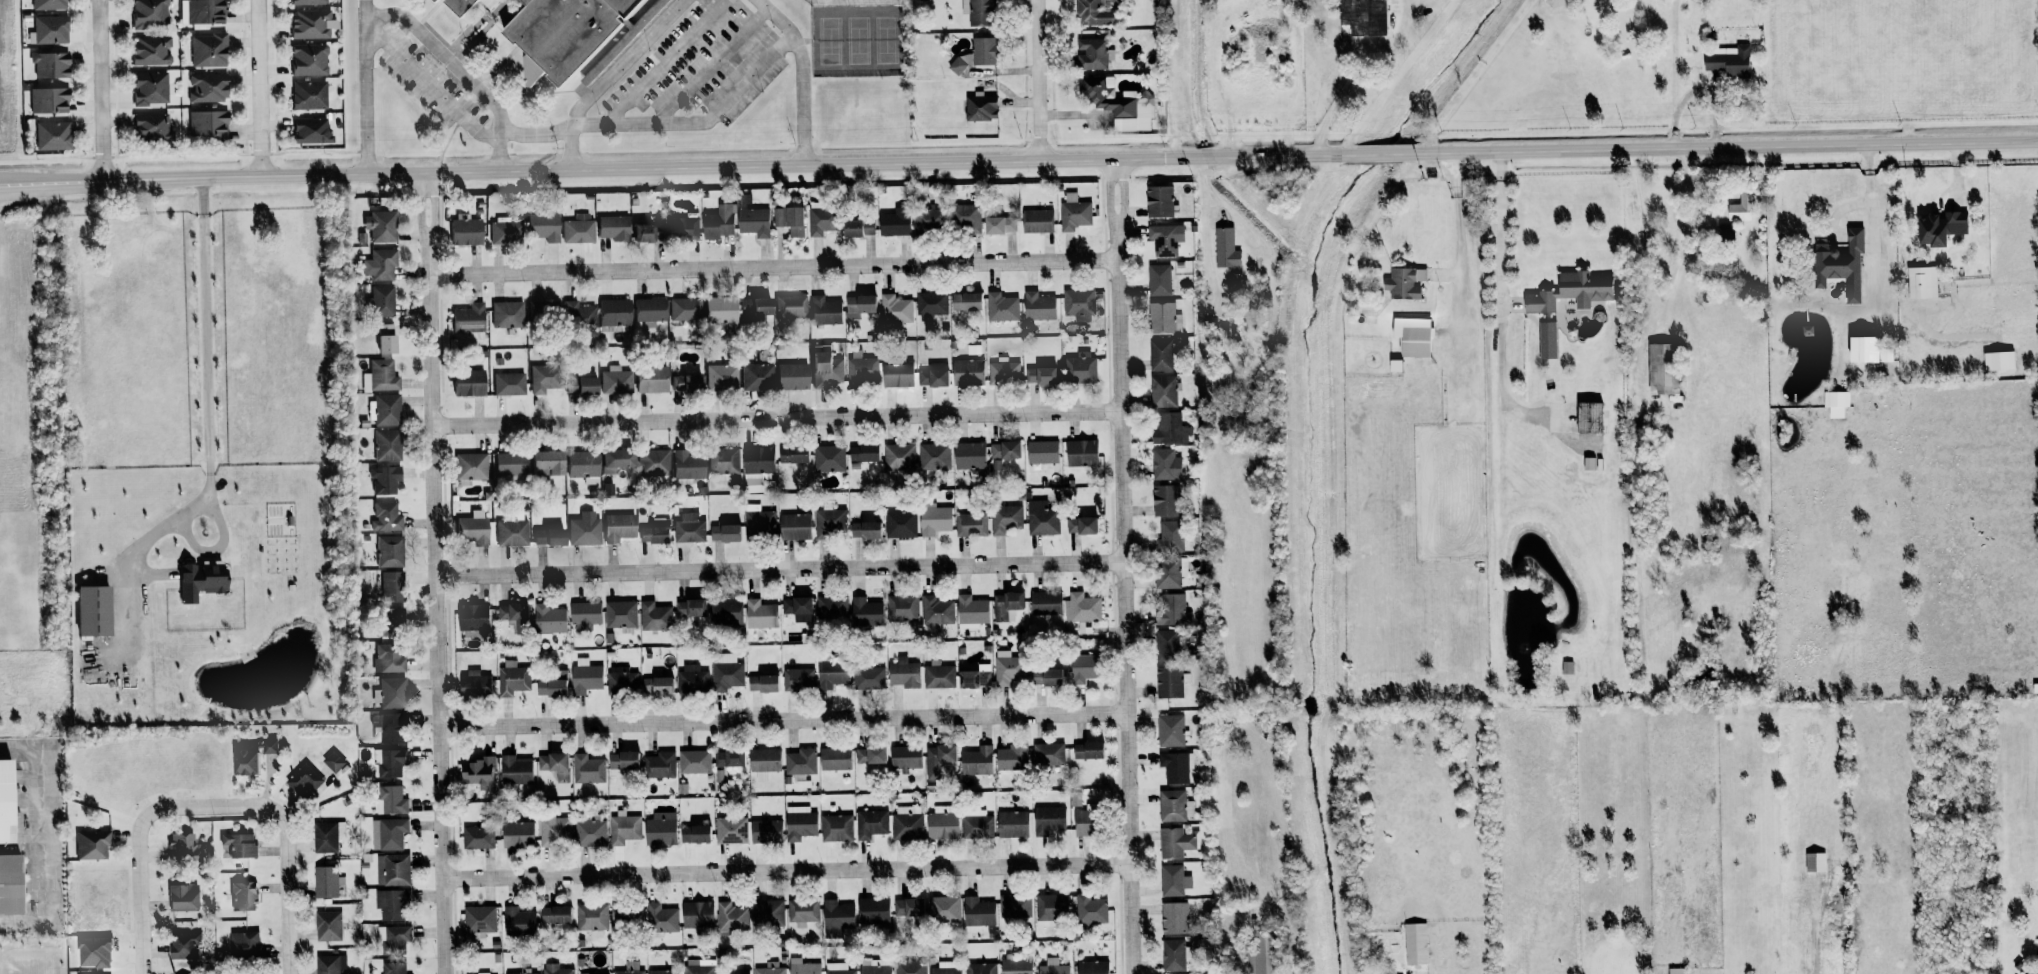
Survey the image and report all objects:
building: (431, 0)
building: (305, 2)
building: (47, 4)
building: (456, 5)
road: (365, 9)
building: (203, 11)
building: (978, 11)
building: (147, 13)
building: (1096, 13)
building: (1363, 17)
road: (407, 20)
building: (309, 24)
building: (47, 30)
building: (561, 31)
building: (206, 49)
building: (149, 50)
road: (797, 50)
building: (976, 54)
building: (1091, 54)
building: (306, 59)
building: (1727, 60)
road: (667, 61)
road: (622, 63)
building: (48, 64)
road: (1042, 80)
building: (148, 87)
building: (206, 87)
road: (431, 87)
road: (260, 88)
road: (100, 90)
building: (307, 94)
building: (47, 99)
road: (1339, 99)
building: (1117, 104)
building: (980, 107)
road: (700, 123)
building: (206, 125)
building: (149, 126)
building: (309, 130)
road: (536, 132)
building: (51, 135)
road: (803, 140)
road: (1723, 146)
road: (367, 148)
road: (499, 151)
road: (573, 151)
road: (1375, 154)
road: (670, 167)
road: (1872, 189)
building: (744, 199)
building: (1159, 201)
building: (1740, 208)
road: (1458, 211)
building: (1074, 212)
building: (965, 216)
building: (926, 218)
building: (820, 219)
building: (789, 220)
building: (753, 221)
building: (1037, 221)
building: (717, 223)
building: (892, 224)
building: (1009, 224)
building: (993, 225)
road: (1700, 225)
building: (379, 226)
building: (541, 226)
building: (611, 227)
building: (857, 227)
building: (1939, 227)
building: (577, 228)
building: (682, 229)
building: (464, 231)
building: (503, 231)
building: (1725, 231)
building: (640, 233)
building: (1166, 239)
building: (1226, 250)
building: (380, 264)
building: (1840, 265)
road: (774, 266)
building: (1159, 280)
building: (1404, 282)
building: (1922, 283)
building: (1567, 291)
building: (379, 301)
building: (965, 301)
building: (859, 303)
building: (931, 303)
building: (1001, 304)
building: (1079, 304)
building: (789, 306)
building: (1037, 306)
building: (549, 308)
building: (753, 308)
building: (684, 309)
building: (719, 309)
building: (895, 309)
building: (649, 310)
building: (823, 310)
building: (507, 314)
building: (578, 315)
building: (1162, 317)
building: (468, 319)
road: (1501, 324)
building: (1411, 336)
building: (383, 338)
building: (1160, 355)
building: (1999, 360)
building: (825, 368)
building: (1080, 368)
building: (862, 370)
building: (1662, 370)
building: (968, 372)
building: (1004, 372)
building: (897, 373)
building: (1040, 375)
building: (379, 376)
building: (756, 376)
building: (790, 376)
building: (650, 377)
building: (721, 377)
building: (932, 377)
building: (539, 378)
building: (615, 380)
building: (467, 382)
building: (685, 382)
building: (508, 383)
building: (568, 384)
building: (583, 385)
building: (1163, 391)
building: (1836, 403)
building: (384, 409)
road: (207, 412)
road: (777, 413)
building: (1588, 417)
building: (1169, 429)
building: (384, 445)
building: (1005, 450)
building: (863, 452)
building: (1042, 452)
building: (1081, 453)
building: (792, 454)
building: (969, 455)
building: (900, 456)
building: (935, 456)
building: (614, 458)
building: (829, 458)
building: (723, 460)
building: (757, 460)
building: (652, 461)
building: (1589, 462)
building: (544, 463)
building: (508, 464)
building: (1164, 464)
building: (582, 465)
building: (686, 466)
building: (469, 467)
building: (383, 479)
building: (1164, 500)
building: (385, 517)
building: (934, 519)
building: (1006, 519)
building: (1042, 519)
building: (829, 521)
building: (759, 523)
building: (901, 524)
building: (971, 524)
building: (1080, 525)
building: (617, 527)
building: (794, 527)
building: (689, 528)
building: (470, 530)
building: (864, 530)
building: (583, 531)
building: (511, 532)
building: (723, 533)
building: (652, 534)
building: (546, 536)
building: (1170, 537)
road: (217, 546)
building: (388, 551)
road: (1122, 566)
road: (780, 568)
building: (1169, 572)
road: (438, 573)
building: (199, 579)
building: (391, 587)
building: (1045, 603)
building: (1007, 606)
building: (1082, 607)
building: (689, 608)
building: (795, 608)
building: (830, 608)
building: (902, 608)
building: (971, 610)
building: (1172, 610)
building: (89, 611)
building: (724, 611)
building: (865, 612)
building: (937, 612)
building: (512, 613)
building: (584, 614)
building: (620, 614)
building: (759, 614)
building: (654, 616)
building: (472, 617)
building: (390, 619)
building: (548, 619)
building: (1168, 645)
building: (387, 659)
building: (1009, 668)
building: (1084, 668)
building: (1567, 668)
building: (725, 672)
building: (831, 674)
building: (903, 674)
building: (938, 675)
building: (513, 677)
building: (584, 677)
building: (975, 677)
building: (1046, 677)
building: (868, 678)
building: (691, 679)
building: (797, 680)
building: (622, 682)
building: (1169, 682)
building: (473, 684)
building: (761, 684)
building: (552, 686)
building: (655, 686)
building: (391, 693)
road: (784, 719)
building: (386, 727)
building: (1170, 730)
building: (263, 745)
building: (1087, 750)
building: (1048, 754)
building: (870, 755)
building: (728, 757)
building: (904, 757)
building: (833, 758)
building: (937, 758)
building: (1011, 758)
building: (621, 759)
building: (242, 761)
building: (333, 761)
building: (388, 761)
building: (694, 761)
building: (763, 761)
building: (977, 761)
building: (553, 763)
building: (659, 764)
building: (1176, 766)
building: (587, 767)
building: (476, 769)
building: (514, 769)
building: (303, 778)
building: (5, 800)
building: (391, 800)
building: (1172, 805)
building: (1048, 819)
building: (798, 822)
building: (941, 822)
building: (1084, 822)
building: (871, 823)
building: (907, 823)
building: (1012, 823)
building: (976, 825)
building: (623, 827)
building: (836, 827)
building: (554, 828)
building: (660, 829)
building: (730, 829)
building: (765, 830)
building: (388, 833)
building: (516, 833)
building: (589, 833)
building: (326, 835)
building: (477, 836)
building: (1174, 842)
building: (179, 843)
building: (238, 843)
building: (90, 844)
road: (285, 857)
road: (139, 861)
road: (787, 867)
building: (392, 869)
building: (9, 880)
building: (1173, 880)
building: (326, 881)
building: (242, 895)
building: (182, 897)
building: (391, 904)
building: (1014, 906)
building: (943, 908)
building: (1050, 908)
building: (907, 909)
building: (1090, 909)
building: (802, 911)
building: (767, 912)
building: (872, 912)
building: (625, 913)
building: (696, 913)
building: (977, 913)
building: (554, 914)
building: (731, 916)
building: (835, 916)
building: (1173, 917)
building: (591, 918)
building: (660, 918)
building: (479, 919)
building: (518, 919)
building: (327, 925)
building: (394, 935)
building: (242, 943)
building: (183, 944)
building: (1416, 944)
building: (1260, 954)
building: (1172, 955)
building: (329, 963)
building: (698, 966)
building: (875, 966)
building: (1015, 966)
building: (392, 967)
building: (803, 967)
building: (910, 967)
building: (946, 967)
building: (1052, 967)
building: (1091, 967)
building: (630, 968)
building: (770, 968)
building: (838, 968)
building: (980, 968)
building: (555, 969)
building: (1676, 970)
building: (662, 971)
building: (487, 973)
building: (518, 973)

